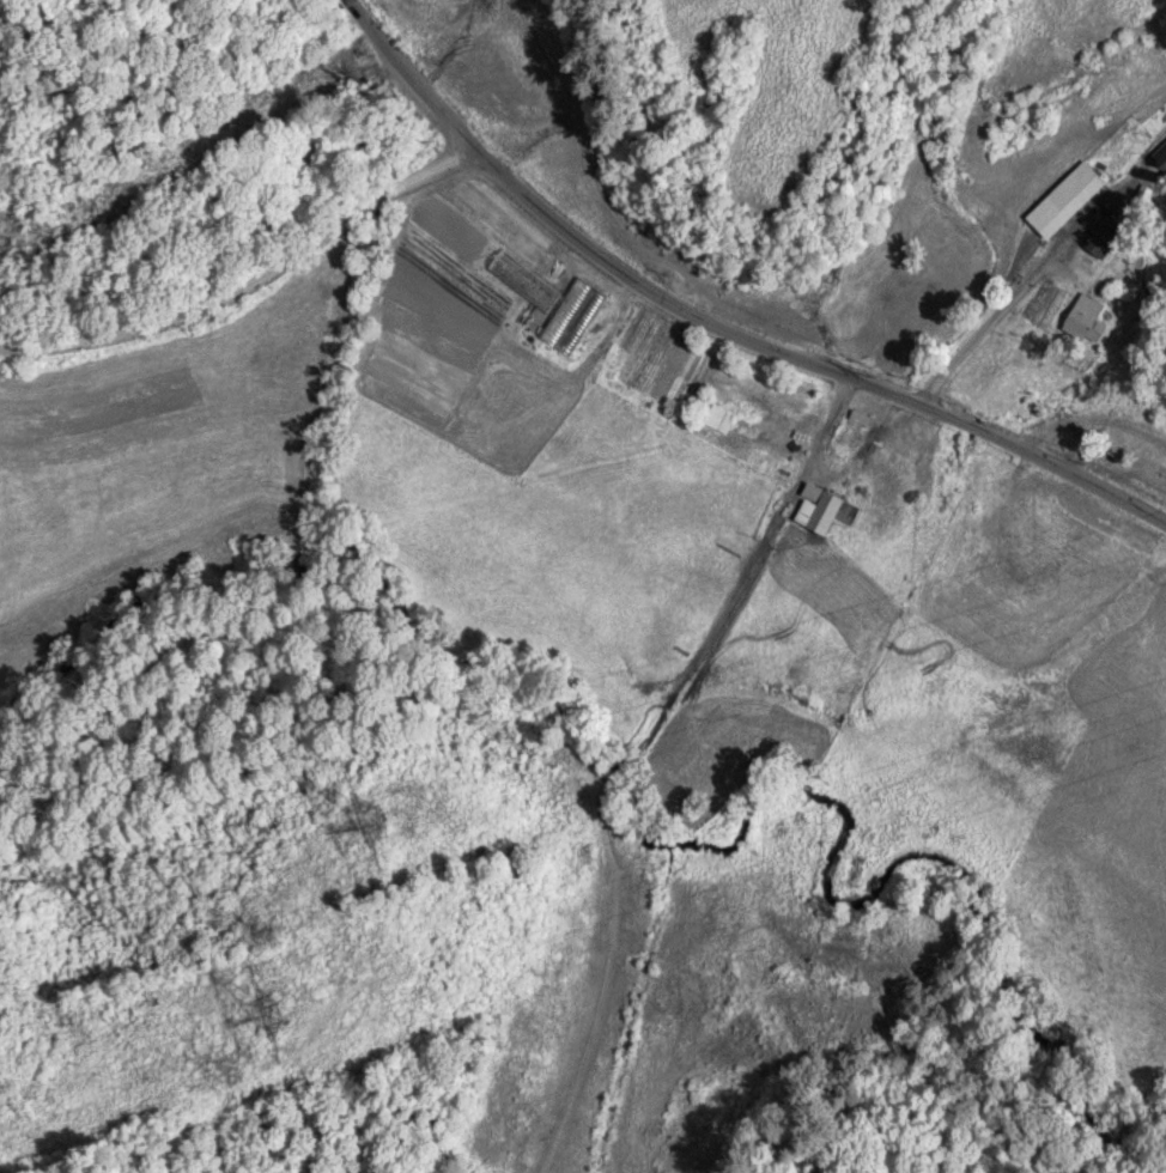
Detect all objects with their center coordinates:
building: (1068, 195)
building: (1105, 232)
road: (249, 279)
building: (1085, 312)
road: (715, 322)
building: (746, 405)
building: (828, 509)
road: (739, 586)
power tower: (376, 831)
power tower: (274, 1027)

